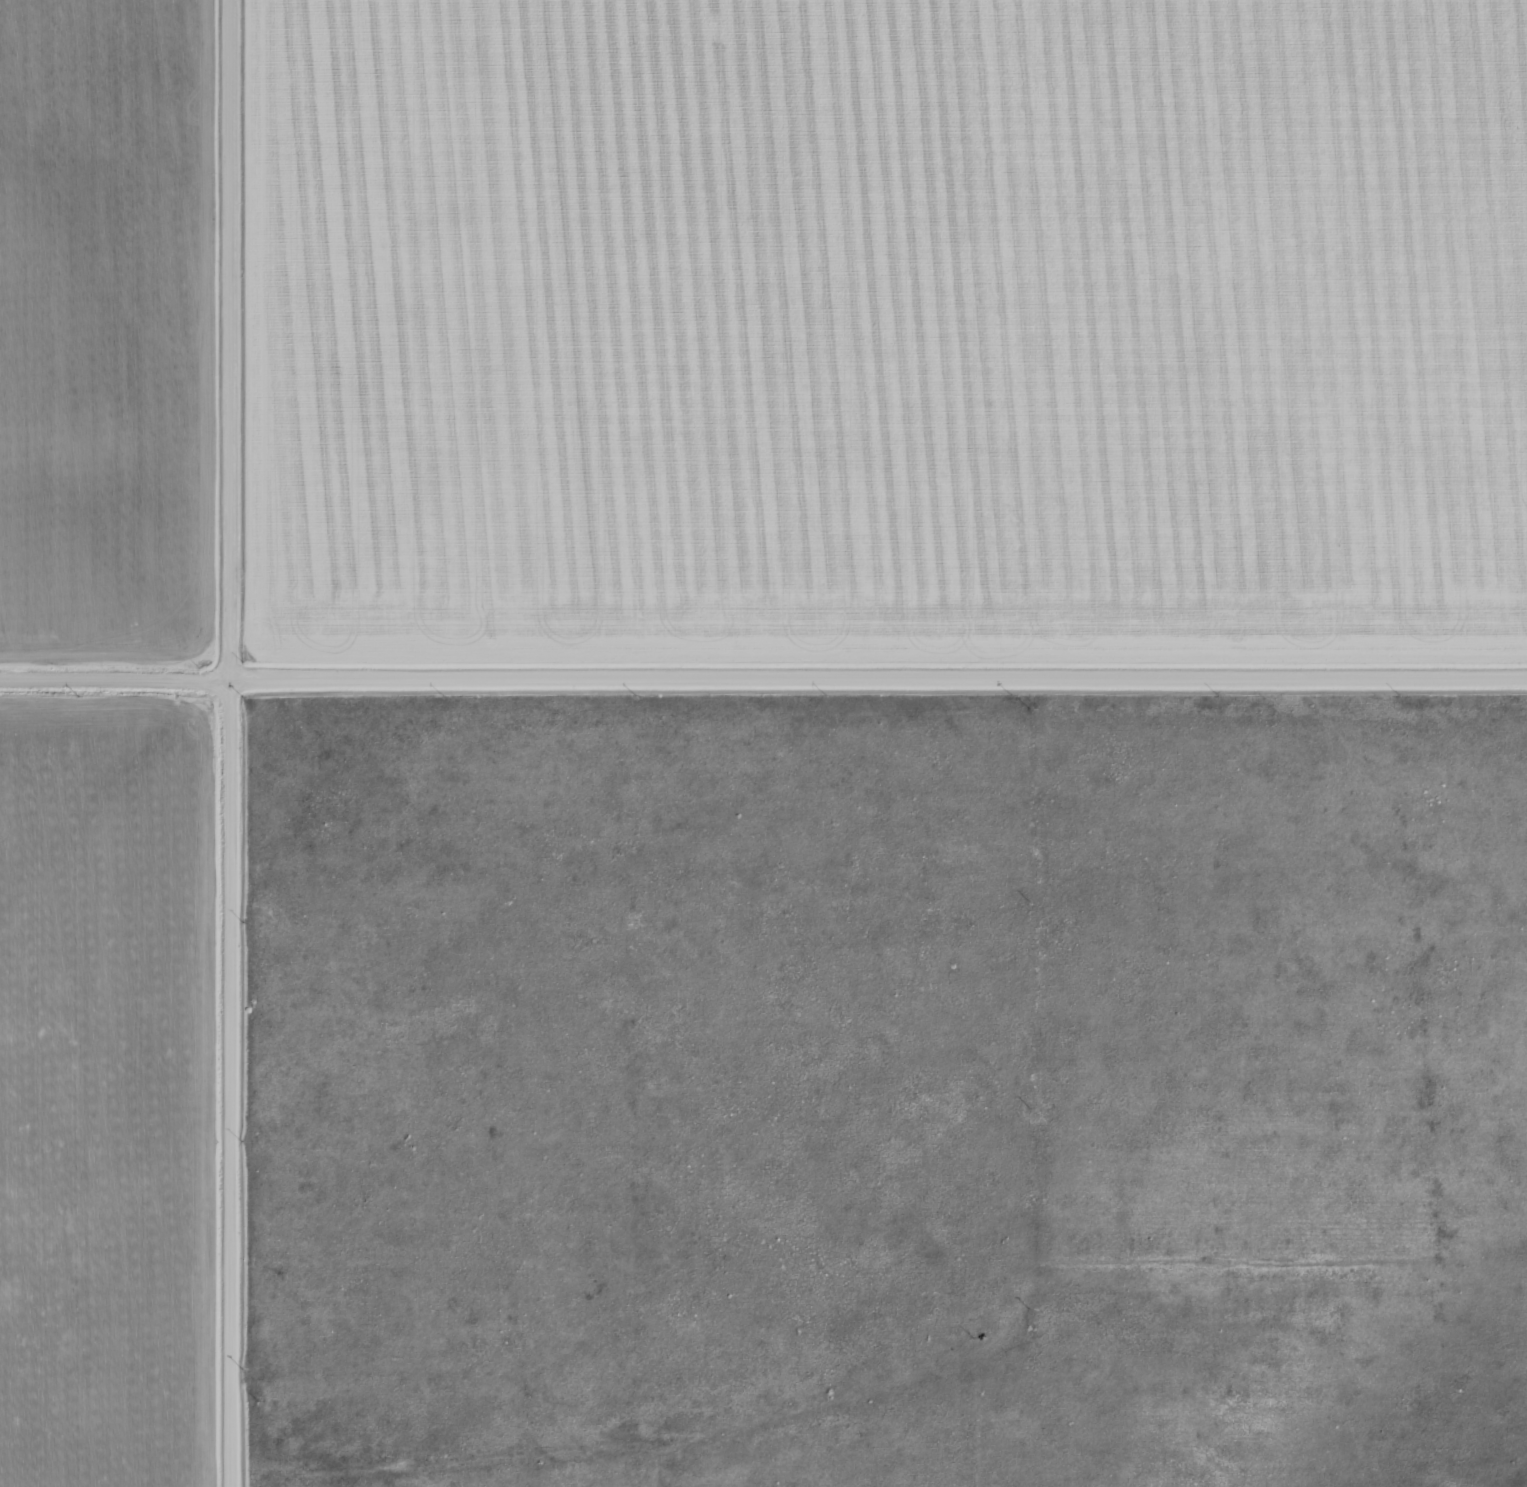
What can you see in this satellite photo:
road: (763, 685)
road: (228, 743)
road: (586, 1452)

